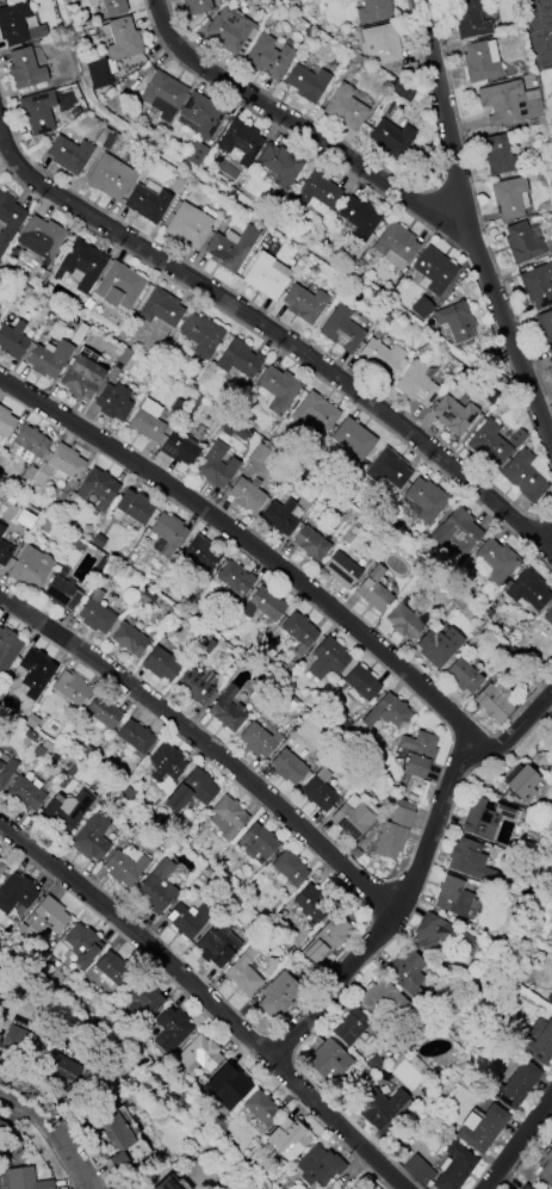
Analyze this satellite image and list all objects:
building: (196, 6)
building: (113, 7)
building: (373, 11)
building: (470, 18)
building: (13, 24)
building: (230, 30)
building: (538, 31)
building: (382, 43)
building: (113, 51)
building: (267, 57)
building: (480, 61)
building: (25, 69)
building: (306, 82)
building: (401, 91)
building: (162, 94)
building: (510, 104)
building: (345, 107)
building: (37, 112)
building: (200, 114)
road: (302, 120)
building: (391, 138)
building: (240, 141)
building: (196, 153)
building: (68, 154)
building: (500, 155)
building: (279, 165)
building: (110, 178)
building: (315, 193)
building: (510, 197)
building: (148, 200)
building: (359, 217)
building: (8, 219)
road: (470, 225)
building: (188, 227)
building: (39, 237)
building: (521, 243)
building: (395, 246)
building: (230, 248)
building: (80, 265)
building: (434, 271)
building: (266, 275)
building: (537, 285)
building: (118, 286)
building: (303, 303)
building: (160, 308)
building: (421, 308)
building: (455, 321)
road: (275, 327)
building: (545, 328)
building: (341, 329)
building: (77, 334)
building: (200, 334)
building: (12, 340)
building: (379, 357)
building: (48, 358)
building: (237, 359)
building: (551, 361)
building: (81, 378)
building: (416, 385)
building: (278, 389)
building: (113, 402)
building: (314, 413)
building: (453, 415)
building: (147, 421)
building: (5, 422)
building: (234, 431)
building: (516, 436)
road: (103, 440)
building: (30, 441)
building: (352, 441)
building: (489, 444)
building: (178, 448)
building: (260, 453)
building: (64, 462)
building: (215, 465)
building: (387, 469)
building: (29, 473)
building: (522, 476)
building: (98, 488)
building: (246, 496)
building: (424, 500)
building: (134, 507)
building: (279, 516)
building: (25, 519)
building: (1, 530)
building: (168, 530)
building: (457, 532)
building: (310, 544)
building: (5, 552)
building: (200, 553)
building: (495, 561)
building: (30, 566)
building: (341, 570)
building: (235, 578)
building: (527, 589)
building: (373, 590)
building: (61, 593)
building: (459, 602)
building: (262, 605)
building: (94, 613)
building: (548, 617)
building: (404, 621)
road: (352, 624)
building: (298, 632)
building: (128, 639)
building: (438, 646)
building: (7, 649)
building: (327, 658)
building: (160, 664)
building: (36, 669)
building: (463, 676)
building: (361, 682)
building: (69, 687)
building: (193, 687)
building: (494, 701)
building: (227, 710)
building: (103, 712)
building: (387, 712)
building: (136, 737)
road: (205, 741)
building: (258, 741)
building: (417, 754)
building: (166, 763)
building: (287, 767)
building: (6, 770)
building: (522, 784)
building: (191, 789)
building: (317, 793)
building: (24, 794)
building: (64, 811)
building: (227, 817)
building: (352, 817)
building: (483, 818)
building: (395, 830)
building: (91, 838)
building: (258, 842)
building: (469, 860)
building: (1, 867)
building: (123, 867)
road: (413, 867)
building: (289, 868)
building: (156, 888)
building: (15, 893)
building: (452, 897)
building: (311, 904)
building: (46, 917)
building: (187, 919)
building: (439, 934)
building: (325, 939)
building: (216, 943)
building: (81, 945)
building: (269, 966)
building: (111, 968)
building: (242, 972)
building: (407, 973)
building: (278, 995)
building: (548, 998)
road: (209, 1001)
building: (383, 1001)
building: (144, 1002)
building: (349, 1027)
building: (170, 1029)
building: (14, 1041)
building: (539, 1045)
building: (199, 1053)
building: (328, 1060)
building: (62, 1067)
building: (230, 1082)
building: (515, 1085)
building: (378, 1107)
building: (260, 1108)
building: (483, 1129)
road: (52, 1132)
building: (4, 1133)
building: (116, 1137)
building: (287, 1139)
road: (516, 1140)
building: (318, 1168)
building: (454, 1168)
building: (546, 1169)
building: (417, 1170)
building: (25, 1179)
building: (167, 1184)
building: (525, 1187)

